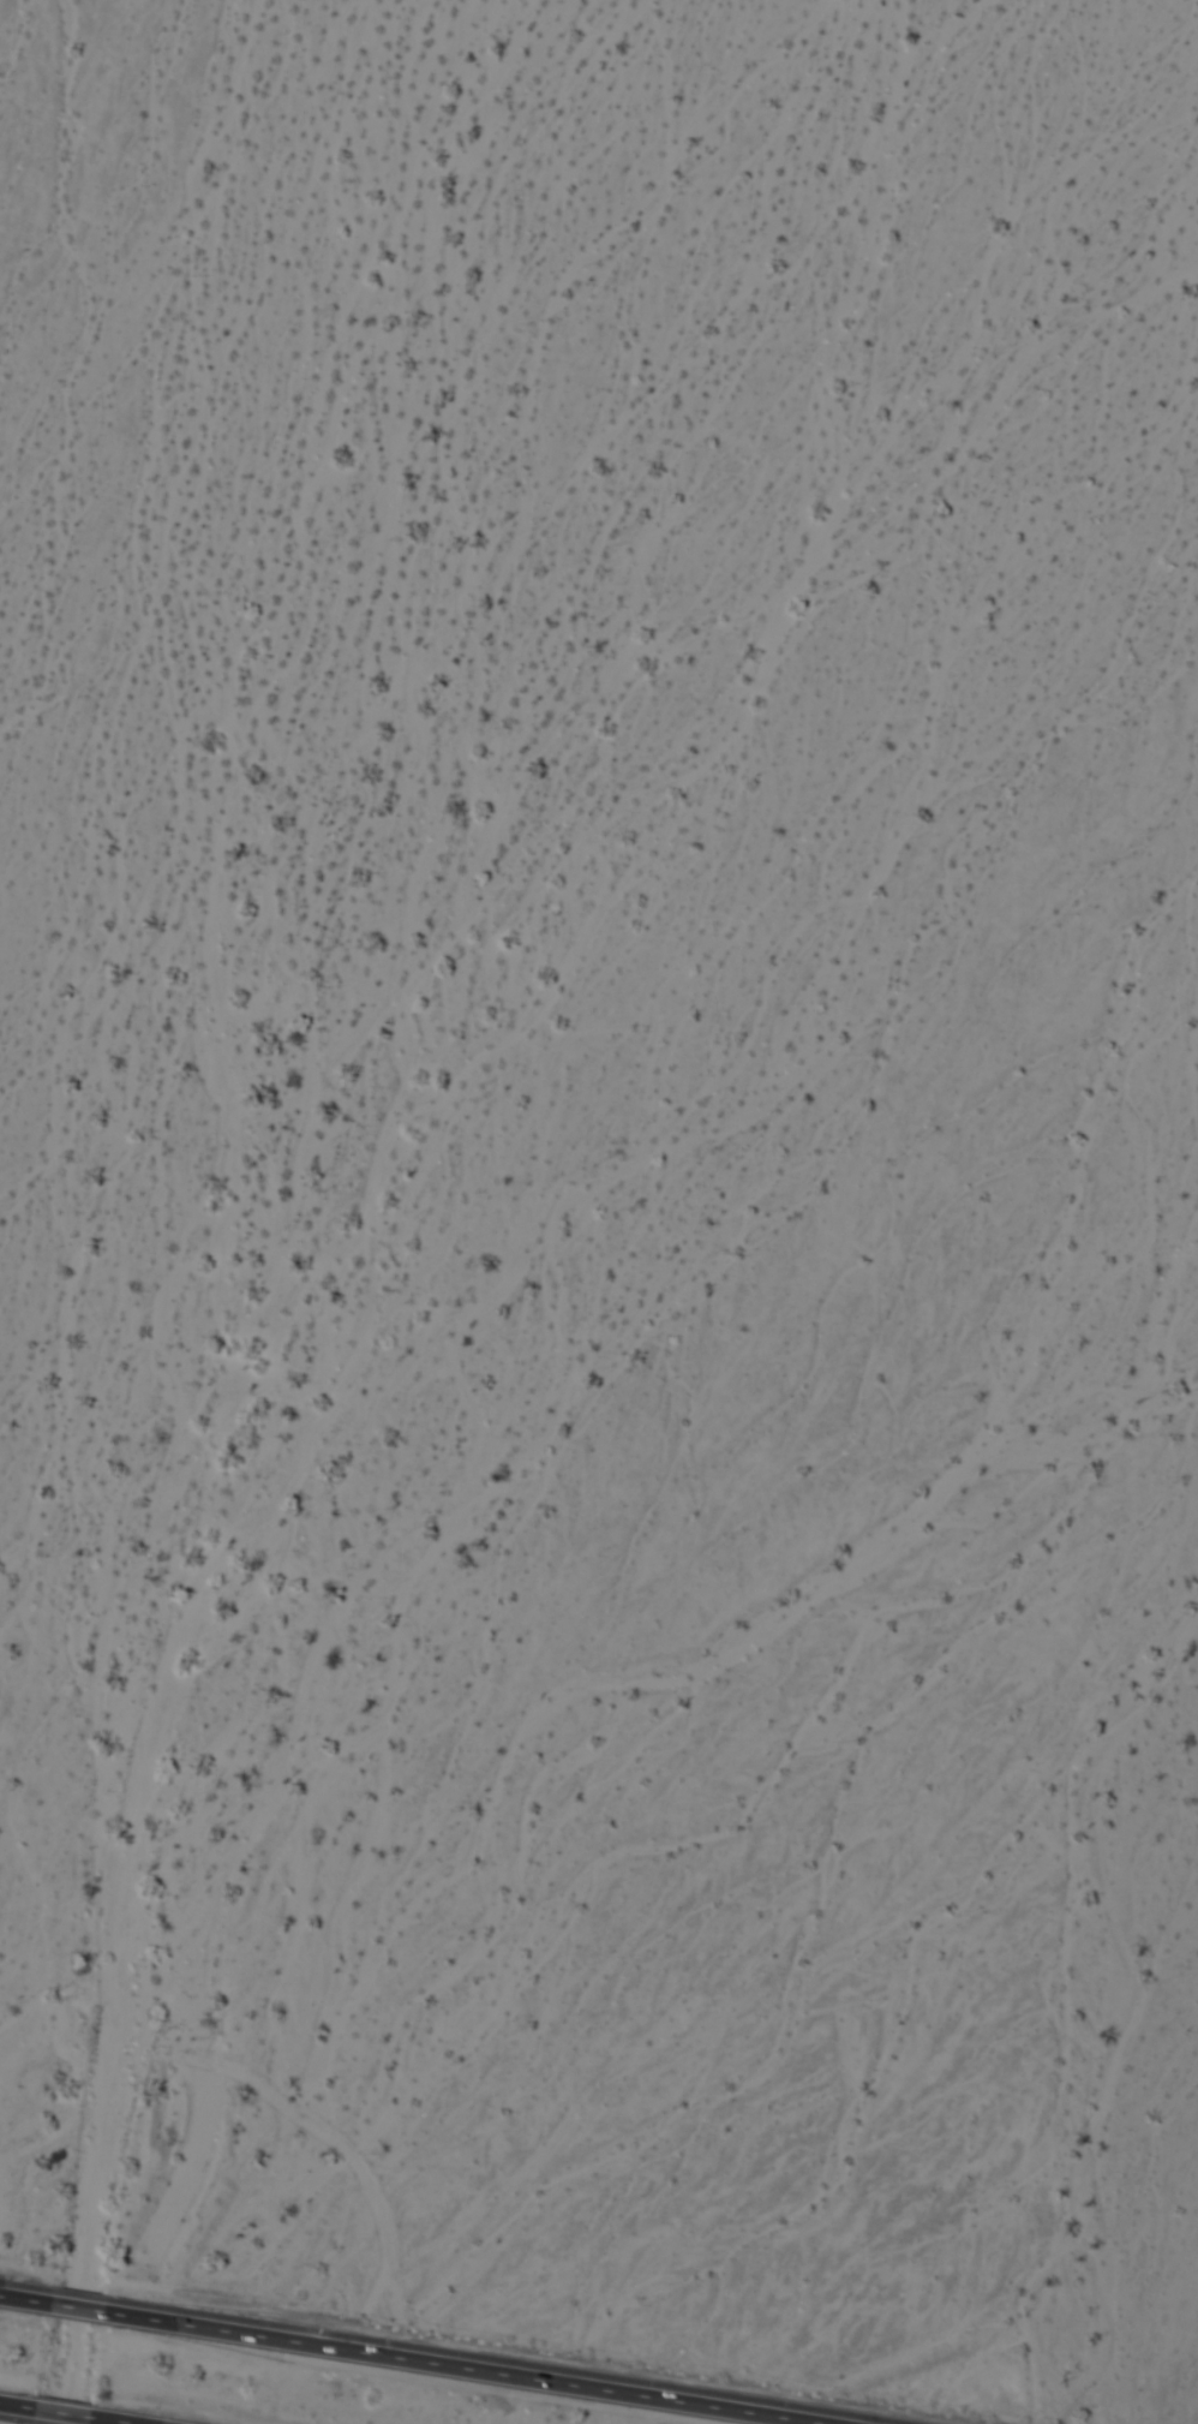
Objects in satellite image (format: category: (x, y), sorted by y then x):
road: (432, 2357)
road: (49, 2416)

